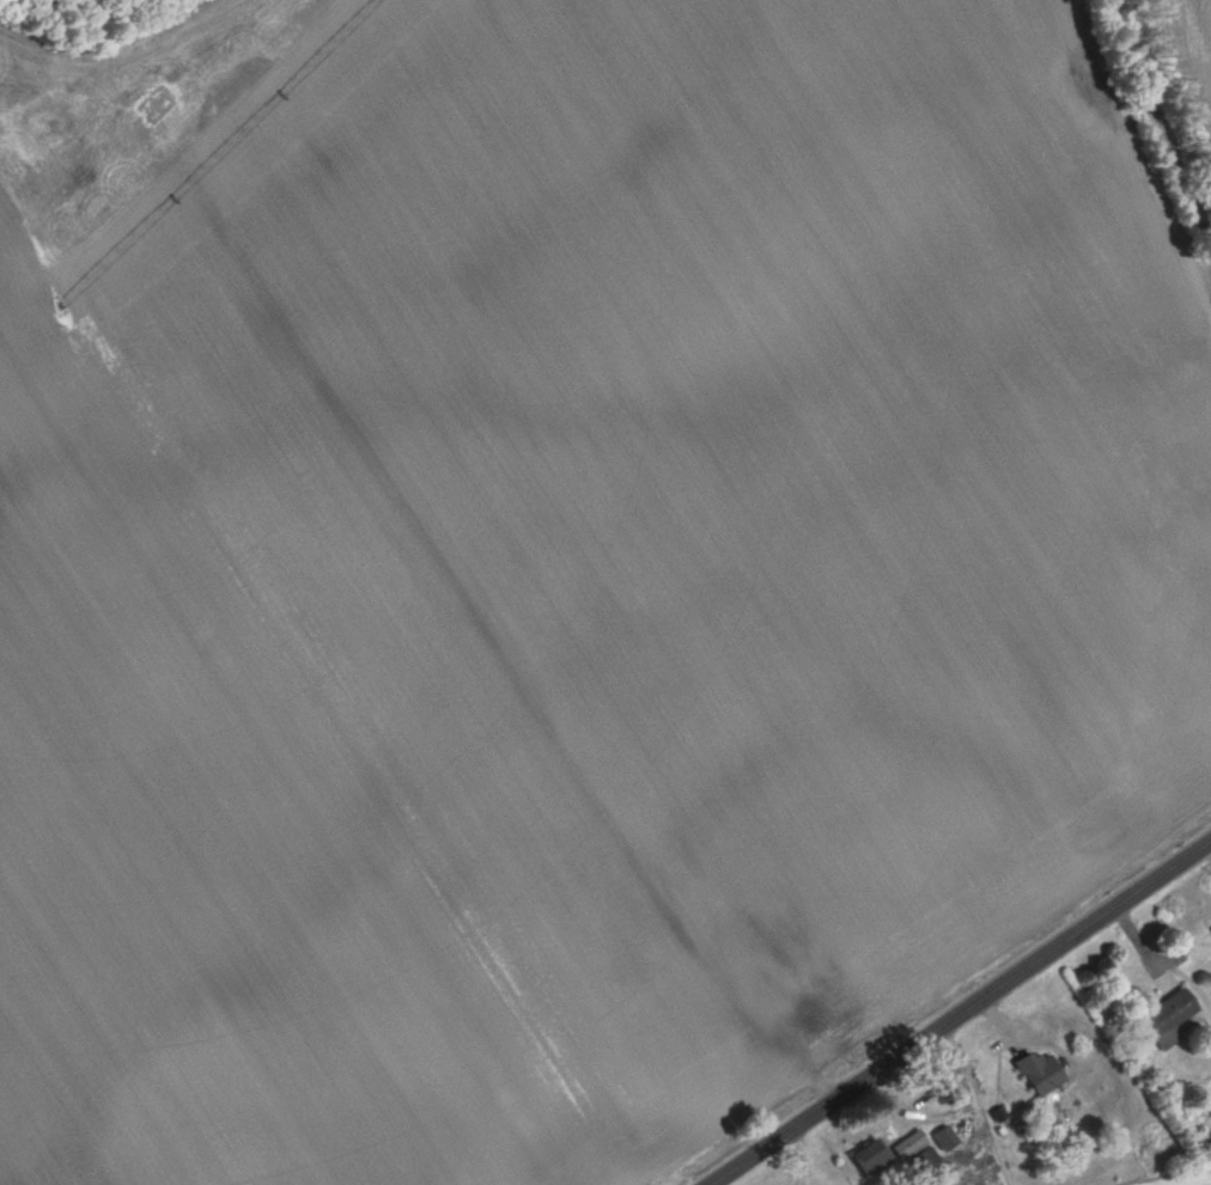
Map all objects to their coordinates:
road: (1160, 123)
building: (790, 987)
road: (959, 1012)
building: (1168, 1019)
building: (1039, 1073)
building: (944, 1138)
building: (919, 1156)
building: (872, 1157)

